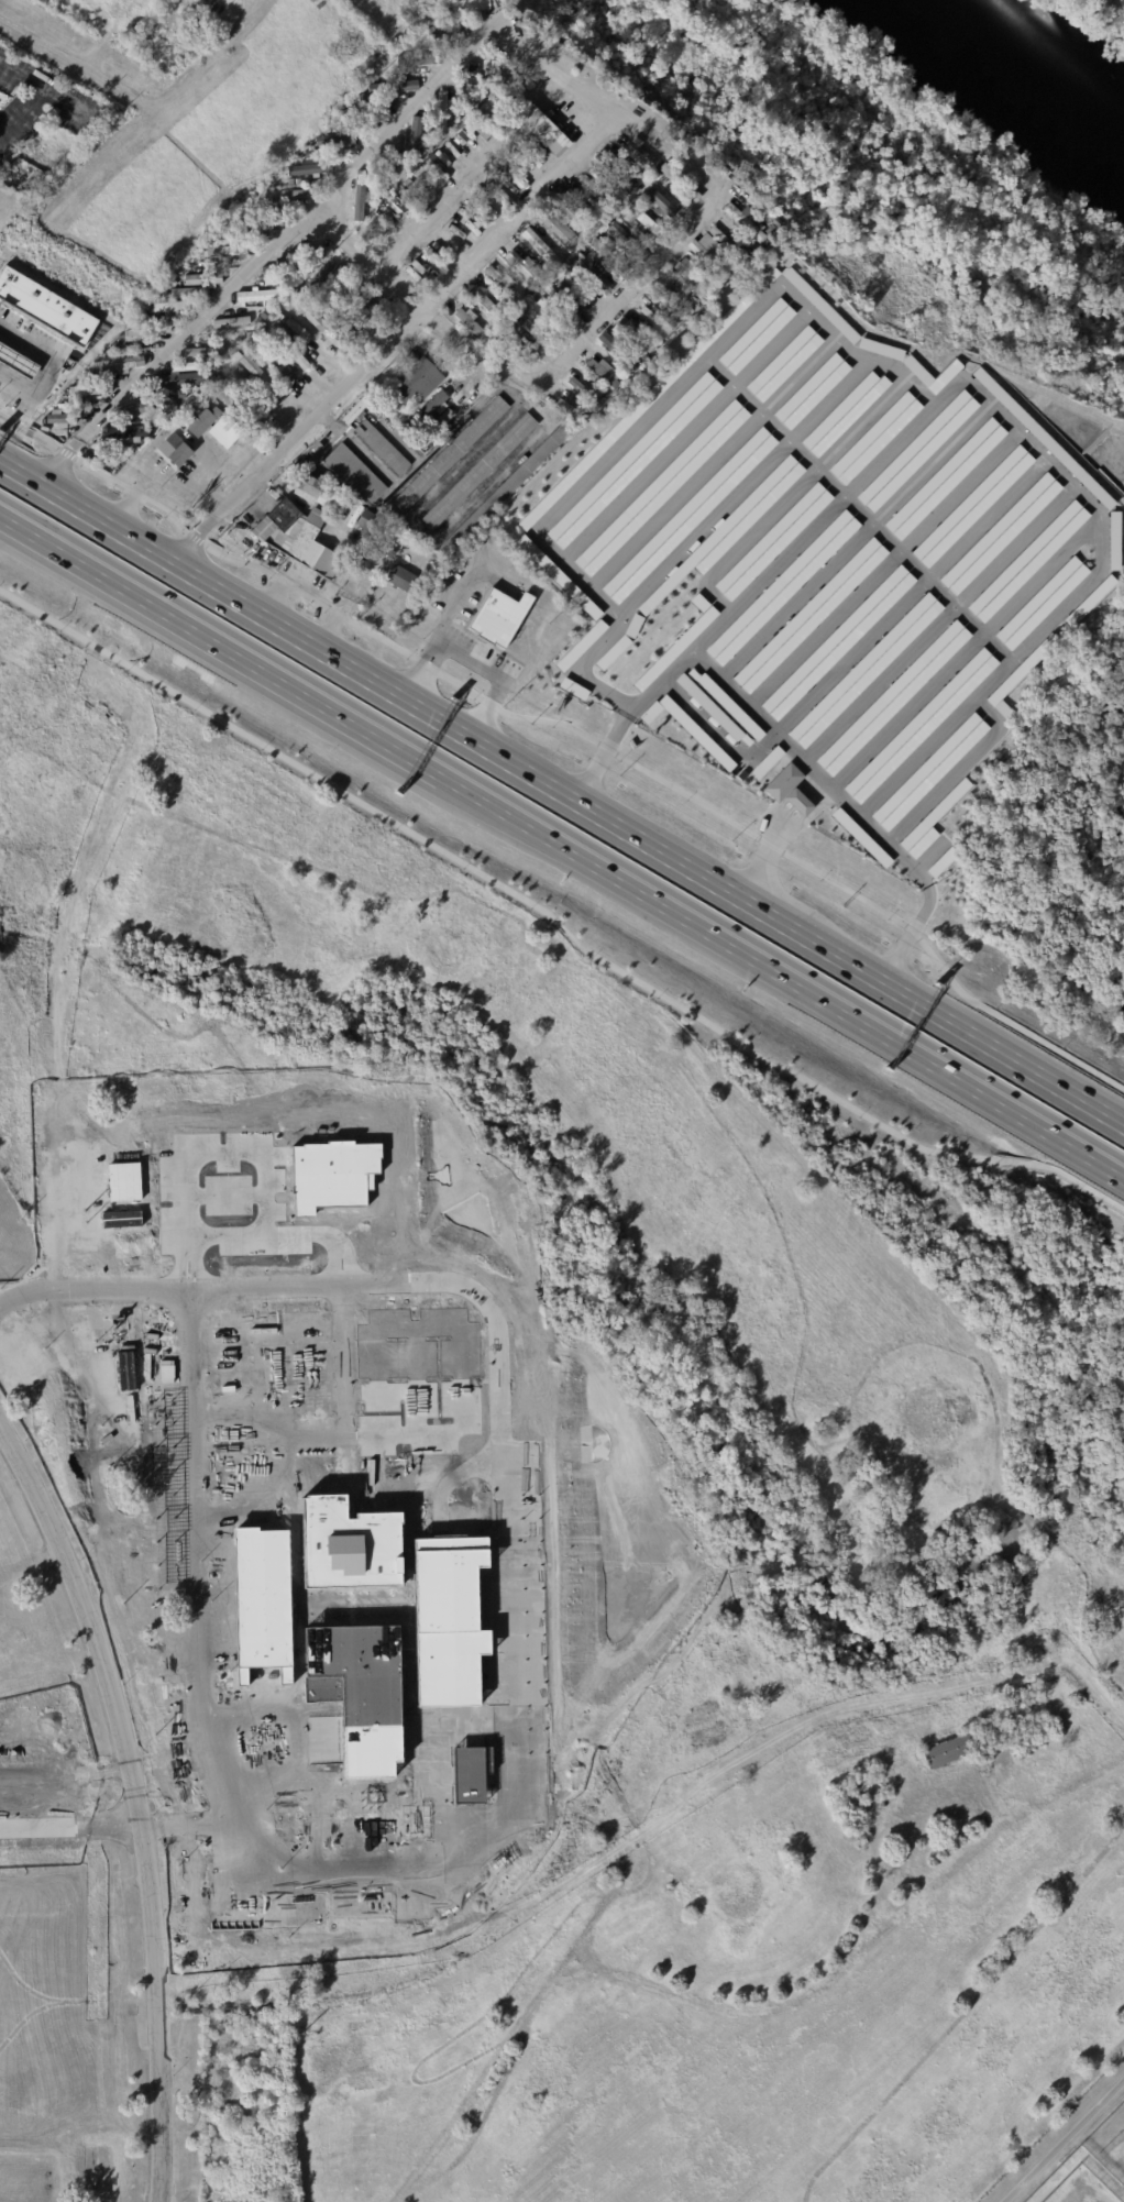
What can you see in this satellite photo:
building: (470, 5)
building: (443, 31)
building: (416, 49)
building: (418, 60)
building: (407, 70)
river: (1007, 75)
building: (493, 77)
building: (510, 85)
building: (456, 86)
building: (472, 86)
building: (390, 87)
building: (364, 113)
building: (636, 113)
building: (444, 114)
building: (483, 117)
building: (542, 130)
building: (356, 136)
building: (414, 142)
building: (333, 144)
building: (428, 147)
building: (451, 150)
road: (363, 152)
building: (640, 153)
building: (387, 167)
building: (308, 169)
building: (614, 169)
building: (438, 172)
building: (680, 183)
building: (410, 191)
building: (596, 194)
building: (478, 195)
building: (283, 196)
building: (360, 198)
building: (572, 200)
building: (658, 201)
building: (582, 208)
building: (618, 210)
building: (745, 220)
building: (644, 221)
building: (559, 223)
building: (443, 242)
building: (629, 242)
building: (724, 242)
building: (543, 251)
building: (223, 252)
building: (430, 254)
building: (609, 258)
building: (707, 260)
building: (569, 263)
building: (524, 267)
building: (698, 267)
building: (286, 269)
building: (688, 276)
building: (319, 277)
building: (591, 278)
building: (201, 279)
building: (714, 282)
building: (504, 286)
building: (289, 289)
building: (342, 295)
building: (261, 296)
building: (573, 298)
building: (484, 300)
building: (674, 300)
building: (819, 305)
building: (45, 307)
building: (167, 307)
building: (511, 311)
building: (262, 315)
building: (363, 315)
building: (554, 316)
building: (657, 319)
building: (230, 323)
building: (470, 324)
building: (673, 326)
building: (295, 327)
building: (324, 330)
building: (636, 333)
building: (320, 334)
building: (141, 335)
road: (392, 335)
building: (537, 335)
building: (756, 335)
building: (880, 348)
building: (205, 352)
building: (291, 352)
building: (519, 352)
building: (618, 352)
building: (16, 359)
building: (783, 363)
building: (118, 364)
building: (181, 366)
building: (282, 366)
road: (48, 367)
building: (917, 372)
building: (256, 373)
building: (605, 373)
building: (177, 381)
building: (416, 384)
building: (89, 390)
building: (811, 390)
building: (583, 392)
road: (945, 392)
road: (885, 394)
building: (649, 396)
building: (432, 403)
road: (530, 404)
building: (572, 406)
building: (151, 407)
road: (657, 408)
building: (355, 411)
building: (844, 412)
building: (442, 417)
building: (55, 418)
building: (139, 418)
building: (200, 421)
building: (125, 432)
building: (224, 432)
road: (684, 436)
building: (1040, 436)
building: (874, 437)
building: (121, 444)
building: (382, 448)
building: (917, 450)
building: (173, 451)
building: (450, 454)
building: (635, 460)
road: (712, 463)
building: (480, 472)
building: (355, 474)
building: (945, 477)
building: (509, 486)
building: (660, 486)
road: (741, 489)
building: (309, 492)
building: (972, 505)
road: (830, 508)
road: (857, 510)
road: (771, 513)
building: (688, 514)
building: (365, 522)
building: (729, 527)
road: (1031, 527)
building: (1000, 532)
building: (297, 537)
road: (855, 540)
building: (1113, 540)
building: (772, 541)
parking lot: (823, 557)
building: (1027, 560)
road: (883, 568)
building: (558, 576)
road: (576, 577)
building: (399, 580)
building: (781, 587)
road: (1073, 594)
building: (1090, 599)
building: (698, 602)
building: (1040, 603)
road: (456, 604)
building: (811, 615)
building: (499, 617)
building: (632, 625)
road: (713, 631)
building: (838, 642)
road: (221, 643)
building: (581, 645)
building: (675, 648)
road: (965, 649)
road: (855, 650)
building: (611, 652)
road: (470, 663)
road: (896, 665)
building: (866, 670)
road: (576, 673)
building: (1020, 674)
road: (659, 683)
building: (573, 689)
building: (891, 697)
building: (727, 704)
building: (712, 708)
building: (650, 712)
building: (921, 724)
road: (575, 729)
building: (696, 731)
road: (776, 733)
road: (934, 738)
road: (599, 759)
building: (767, 761)
building: (928, 771)
road: (954, 771)
building: (741, 774)
road: (813, 786)
building: (787, 789)
road: (562, 793)
road: (800, 803)
road: (505, 811)
building: (930, 822)
building: (861, 837)
road: (892, 851)
road: (764, 854)
building: (940, 862)
road: (553, 924)
road: (911, 936)
road: (734, 946)
road: (1013, 1110)
building: (337, 1178)
building: (128, 1183)
road: (417, 1285)
building: (357, 1552)
airport: (507, 1559)
road: (198, 1575)
building: (266, 1603)
building: (456, 1628)
building: (364, 1699)
building: (948, 1751)
building: (982, 1774)
building: (474, 1781)
building: (879, 1798)
road: (135, 1801)
road: (1062, 2140)

